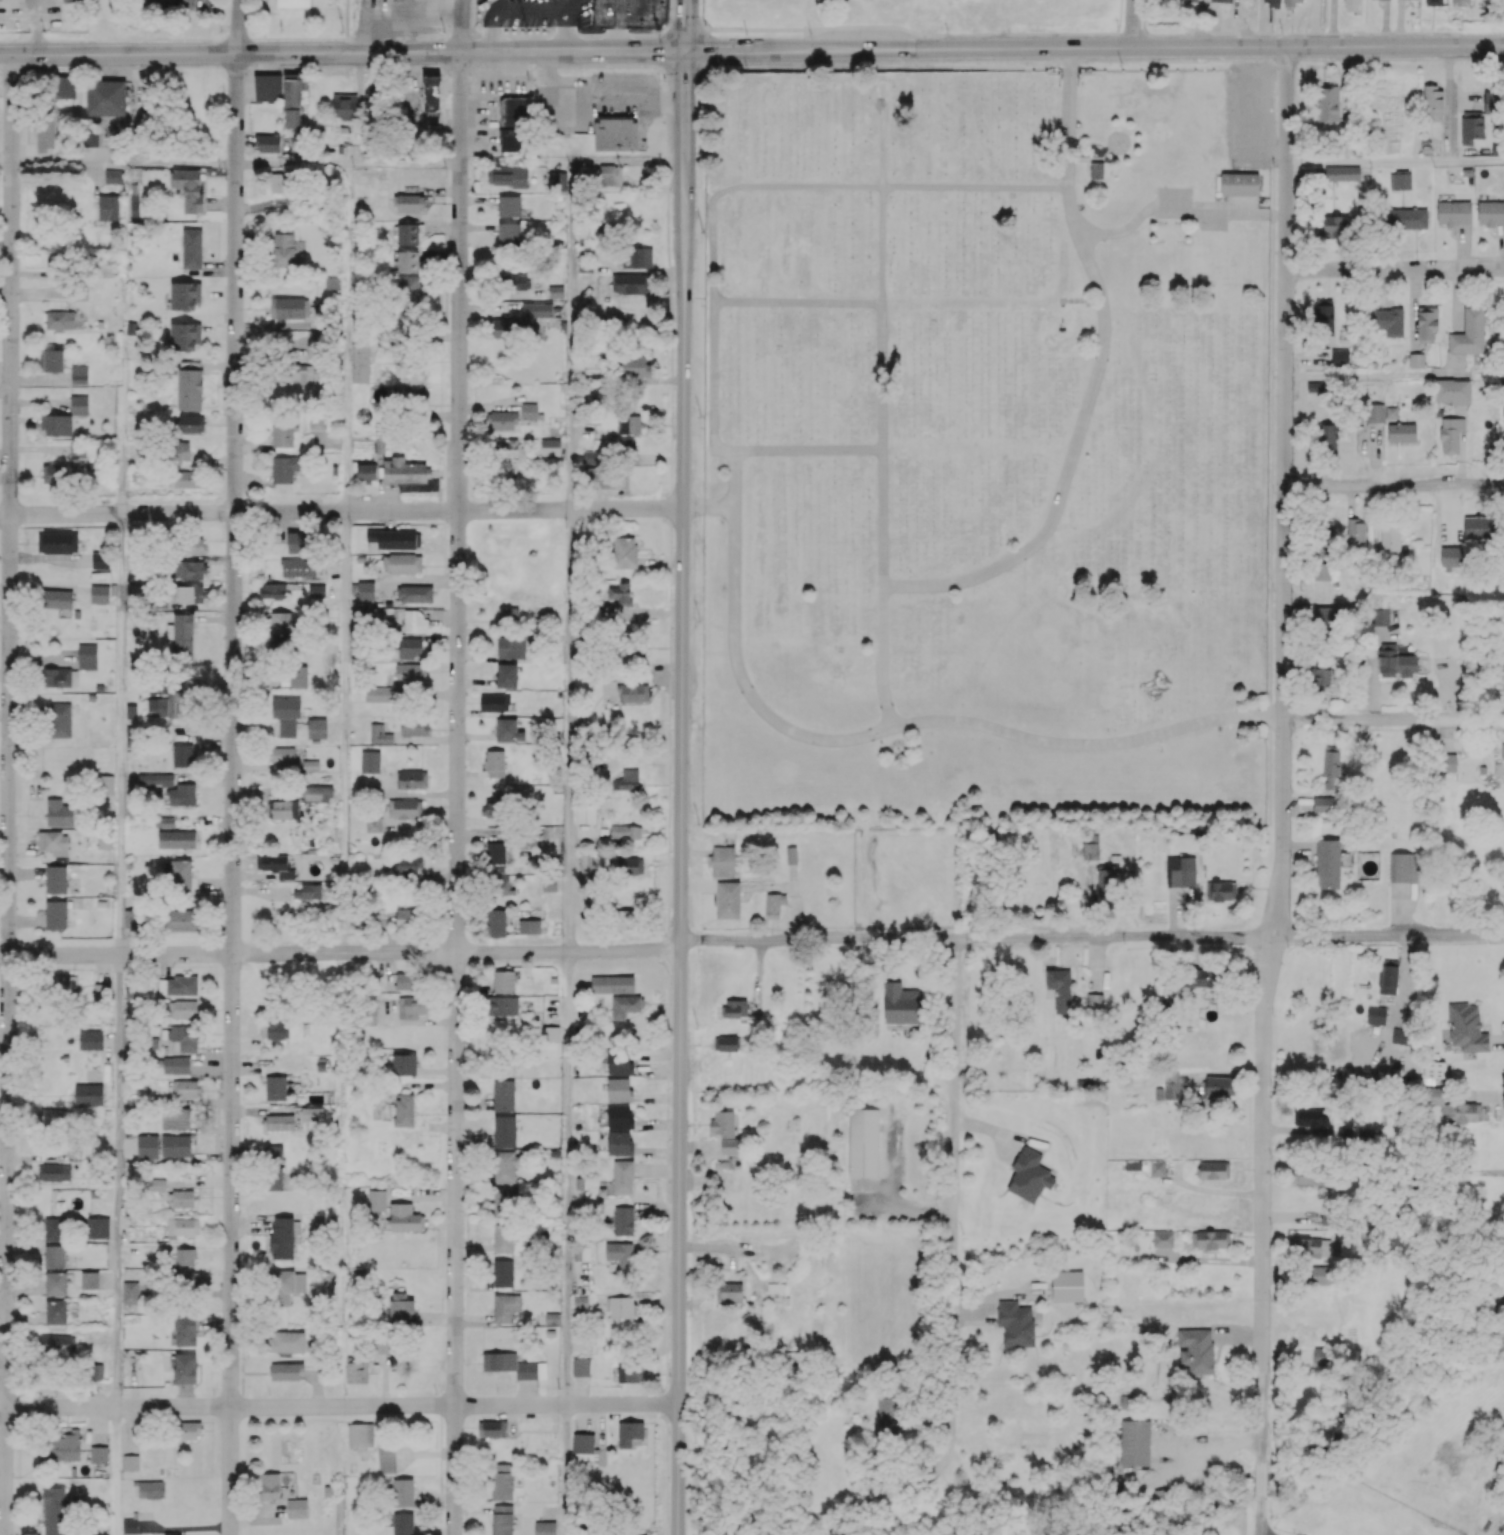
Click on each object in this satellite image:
building: (1188, 0)
building: (1221, 0)
building: (1271, 2)
building: (1291, 2)
building: (1434, 2)
building: (1461, 2)
building: (293, 3)
building: (1352, 4)
road: (531, 8)
road: (394, 10)
road: (1132, 23)
road: (461, 25)
road: (687, 25)
road: (31, 26)
road: (238, 26)
road: (751, 50)
traffic signals: (686, 51)
building: (64, 87)
building: (267, 87)
road: (600, 88)
building: (431, 93)
building: (107, 97)
building: (1249, 102)
building: (1433, 102)
building: (291, 103)
building: (1327, 103)
building: (1491, 103)
road: (1450, 104)
building: (344, 106)
building: (513, 110)
road: (1068, 117)
building: (1471, 126)
building: (615, 133)
building: (45, 134)
building: (90, 138)
building: (512, 140)
building: (269, 142)
building: (1258, 151)
road: (1395, 161)
road: (404, 162)
road: (292, 163)
road: (123, 165)
road: (5, 166)
building: (1097, 171)
building: (1342, 173)
building: (610, 174)
building: (114, 175)
building: (507, 176)
building: (556, 180)
building: (1400, 181)
building: (278, 182)
building: (1240, 185)
building: (189, 187)
building: (409, 202)
building: (509, 206)
building: (108, 207)
road: (1179, 210)
building: (1454, 212)
building: (1490, 212)
road: (1071, 213)
building: (1404, 218)
building: (1334, 226)
road: (713, 228)
building: (509, 232)
building: (408, 234)
building: (192, 248)
building: (283, 249)
building: (637, 257)
building: (405, 261)
road: (1395, 268)
building: (586, 278)
road: (573, 280)
building: (515, 281)
building: (630, 283)
building: (76, 290)
building: (555, 291)
building: (185, 295)
building: (407, 299)
road: (798, 301)
building: (289, 307)
building: (536, 309)
building: (1323, 316)
building: (59, 319)
building: (1388, 321)
building: (1426, 323)
building: (497, 329)
building: (1468, 333)
building: (185, 336)
road: (347, 337)
building: (1339, 356)
building: (51, 359)
building: (1416, 360)
building: (360, 363)
building: (634, 367)
building: (297, 373)
building: (79, 374)
road: (1378, 375)
building: (189, 389)
building: (1452, 391)
building: (406, 392)
building: (508, 403)
building: (79, 404)
road: (882, 406)
building: (530, 410)
building: (1375, 412)
building: (503, 420)
building: (192, 423)
building: (56, 424)
building: (629, 424)
building: (1401, 432)
building: (282, 434)
building: (1451, 434)
building: (1327, 436)
building: (550, 446)
building: (626, 446)
building: (509, 448)
building: (78, 450)
building: (180, 451)
park: (983, 454)
building: (591, 456)
building: (285, 468)
building: (403, 471)
building: (366, 472)
road: (1067, 472)
building: (61, 473)
building: (601, 476)
road: (734, 478)
building: (189, 479)
road: (1394, 485)
road: (707, 506)
road: (341, 511)
building: (1478, 527)
building: (1356, 531)
building: (395, 538)
building: (1390, 541)
building: (57, 542)
building: (298, 542)
building: (192, 545)
building: (624, 551)
building: (1453, 556)
building: (100, 560)
building: (402, 563)
building: (298, 567)
building: (189, 569)
building: (1322, 571)
building: (273, 590)
building: (317, 590)
building: (366, 590)
building: (621, 592)
building: (99, 593)
building: (193, 593)
building: (414, 593)
building: (57, 598)
building: (508, 614)
building: (1380, 616)
building: (1322, 617)
building: (414, 621)
building: (280, 622)
building: (181, 635)
building: (410, 647)
building: (511, 647)
building: (634, 647)
building: (87, 656)
building: (1395, 662)
building: (410, 673)
building: (506, 675)
building: (1319, 675)
building: (298, 676)
building: (57, 677)
road: (742, 680)
building: (633, 693)
building: (378, 694)
building: (494, 702)
building: (168, 706)
building: (131, 712)
building: (286, 714)
road: (1393, 718)
building: (59, 720)
building: (414, 727)
building: (317, 728)
road: (343, 730)
building: (508, 730)
road: (570, 730)
building: (381, 732)
road: (120, 733)
road: (1087, 745)
building: (182, 754)
building: (283, 757)
building: (370, 761)
building: (1447, 762)
building: (495, 763)
building: (310, 765)
building: (1331, 767)
building: (412, 779)
building: (155, 780)
building: (626, 780)
building: (105, 784)
road: (1282, 791)
road: (232, 793)
building: (318, 793)
road: (456, 793)
road: (681, 793)
building: (182, 794)
road: (8, 795)
building: (1327, 804)
building: (404, 808)
building: (492, 808)
building: (285, 809)
building: (585, 812)
building: (60, 813)
building: (373, 822)
building: (626, 831)
building: (177, 839)
building: (54, 842)
building: (1090, 847)
building: (495, 852)
building: (791, 855)
building: (722, 861)
building: (1328, 863)
building: (409, 864)
building: (277, 865)
building: (631, 866)
building: (1405, 867)
building: (1180, 871)
building: (180, 875)
building: (56, 879)
building: (1106, 879)
building: (504, 886)
building: (549, 886)
building: (1224, 891)
building: (308, 892)
building: (728, 900)
building: (774, 905)
building: (56, 914)
building: (407, 918)
building: (625, 919)
building: (183, 920)
building: (496, 923)
building: (529, 926)
road: (1092, 936)
road: (340, 950)
building: (1200, 977)
building: (1388, 977)
building: (406, 980)
building: (504, 981)
building: (60, 983)
building: (612, 984)
building: (179, 985)
building: (1059, 988)
building: (101, 992)
building: (902, 1004)
building: (412, 1006)
building: (625, 1006)
building: (502, 1007)
building: (734, 1008)
building: (182, 1009)
building: (1376, 1015)
building: (274, 1027)
building: (1466, 1027)
building: (551, 1033)
building: (1399, 1036)
building: (181, 1037)
building: (90, 1039)
building: (726, 1043)
building: (620, 1062)
building: (404, 1064)
building: (176, 1065)
building: (1434, 1069)
building: (276, 1084)
building: (1218, 1086)
building: (1168, 1087)
building: (184, 1088)
building: (619, 1090)
building: (88, 1094)
building: (503, 1095)
road: (1482, 1096)
building: (1452, 1106)
building: (404, 1110)
building: (55, 1116)
building: (619, 1116)
building: (176, 1118)
building: (1311, 1118)
building: (280, 1122)
building: (505, 1131)
building: (726, 1133)
building: (1366, 1135)
building: (620, 1142)
building: (863, 1142)
building: (176, 1145)
building: (147, 1146)
building: (274, 1152)
building: (506, 1165)
building: (1157, 1167)
building: (1214, 1170)
building: (54, 1171)
building: (1308, 1174)
building: (1029, 1175)
road: (568, 1177)
building: (623, 1177)
building: (273, 1178)
road: (117, 1180)
road: (954, 1196)
building: (182, 1198)
building: (376, 1200)
building: (506, 1200)
building: (1325, 1214)
building: (405, 1218)
building: (623, 1220)
building: (97, 1227)
building: (182, 1227)
building: (54, 1228)
building: (282, 1237)
building: (503, 1237)
building: (1163, 1238)
building: (1210, 1239)
building: (621, 1253)
building: (54, 1256)
building: (185, 1256)
building: (1327, 1261)
building: (503, 1273)
building: (89, 1279)
building: (189, 1281)
building: (56, 1283)
building: (1067, 1285)
building: (285, 1286)
building: (777, 1287)
building: (130, 1292)
building: (729, 1292)
building: (621, 1306)
building: (506, 1307)
building: (401, 1309)
building: (56, 1312)
building: (552, 1318)
building: (1016, 1323)
building: (185, 1330)
building: (287, 1341)
building: (58, 1344)
building: (1196, 1349)
building: (1320, 1355)
building: (513, 1365)
building: (581, 1366)
building: (185, 1367)
building: (286, 1371)
building: (356, 1372)
building: (629, 1373)
road: (338, 1405)
building: (888, 1413)
building: (491, 1428)
building: (188, 1430)
building: (630, 1433)
building: (360, 1435)
building: (1135, 1442)
building: (64, 1446)
building: (584, 1447)
building: (99, 1454)
building: (386, 1460)
building: (130, 1462)
road: (565, 1469)
road: (116, 1471)
building: (502, 1481)
building: (270, 1486)
building: (147, 1489)
building: (403, 1492)
building: (297, 1508)
building: (54, 1510)
building: (502, 1519)
building: (403, 1523)
building: (130, 1525)
building: (545, 1527)
road: (1269, 1532)
building: (174, 1534)

